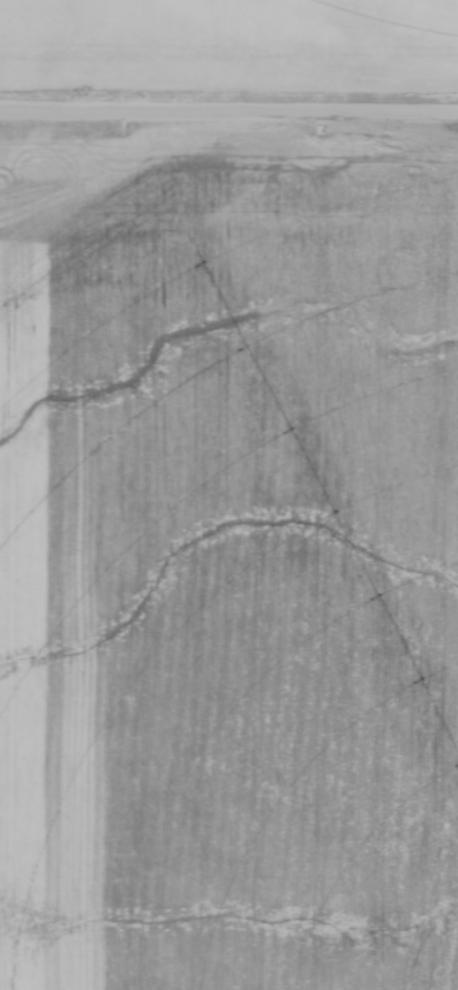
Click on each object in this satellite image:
road: (229, 112)

